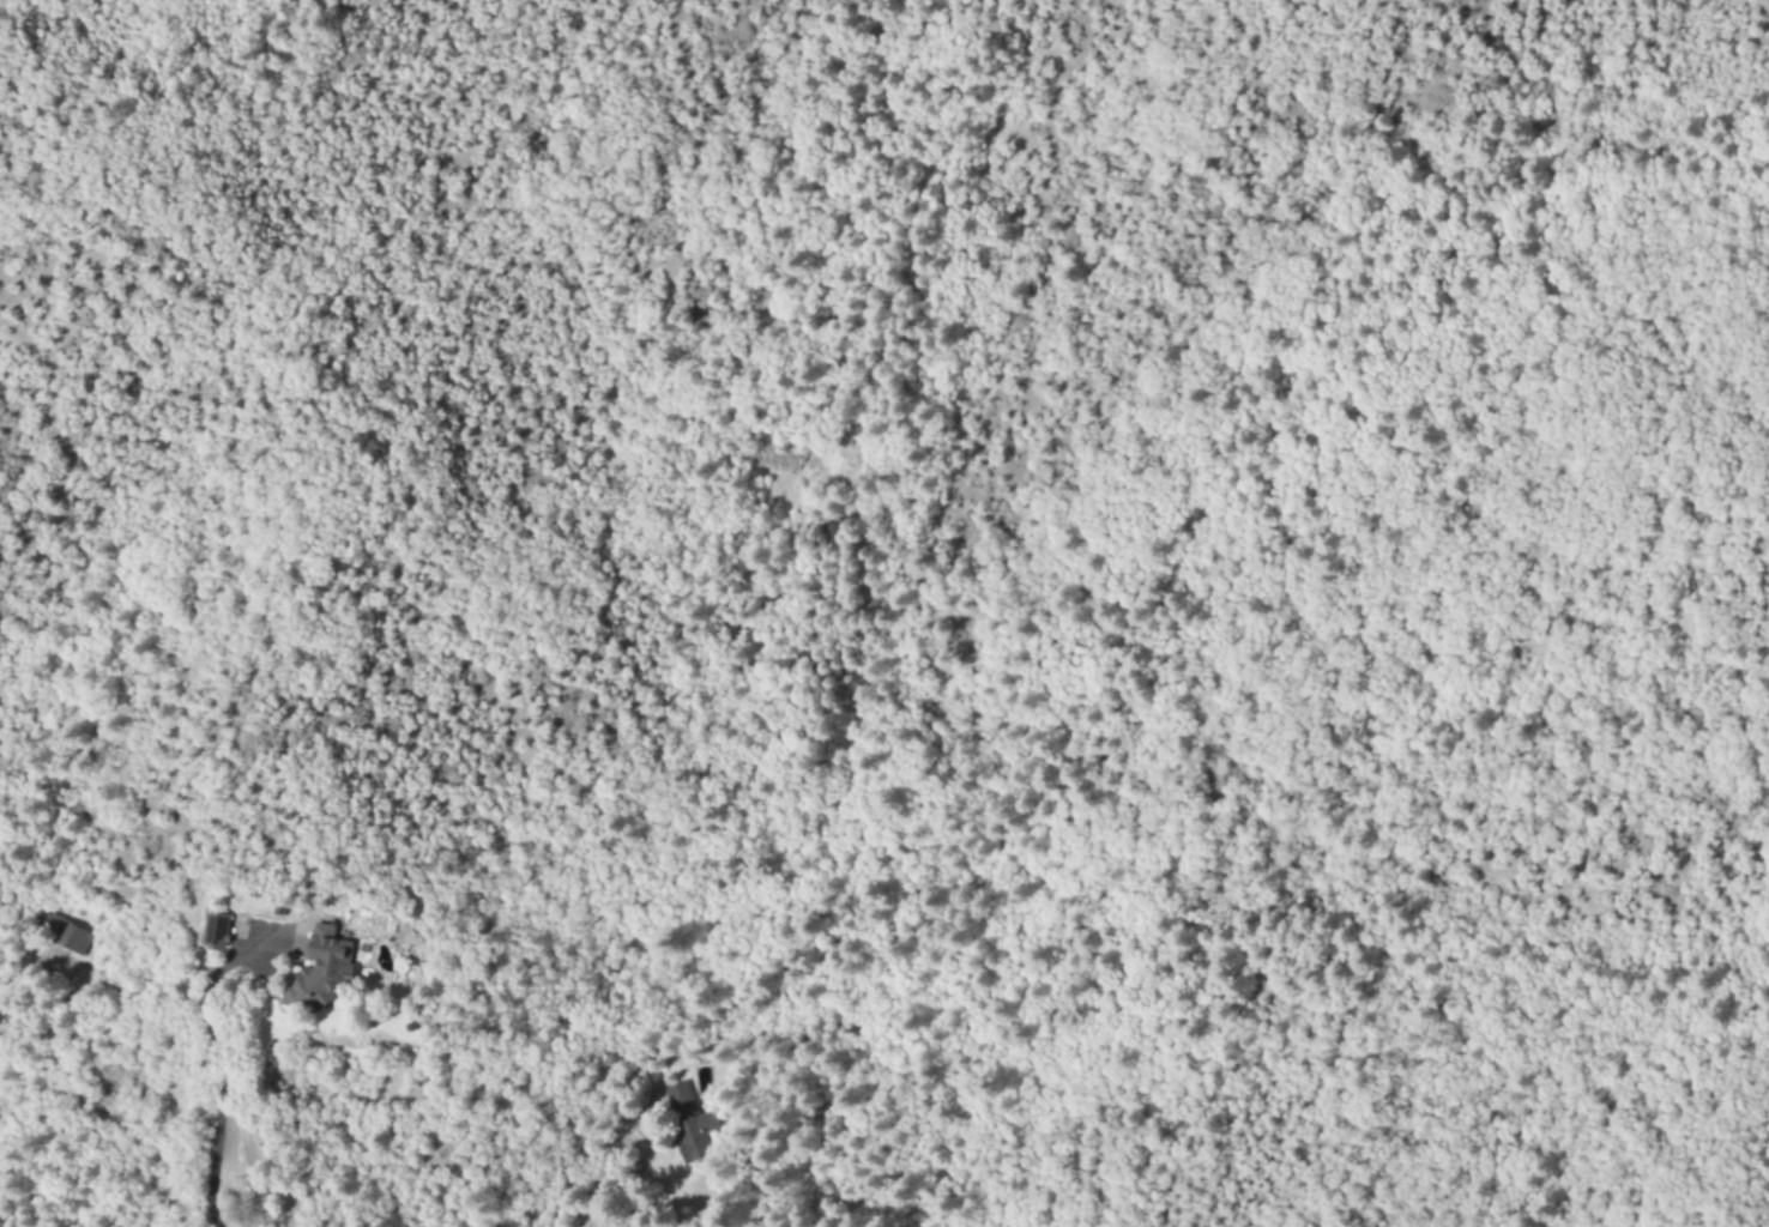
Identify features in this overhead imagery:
building: (216, 930)
building: (62, 931)
building: (326, 967)
road: (219, 1068)
building: (687, 1122)

